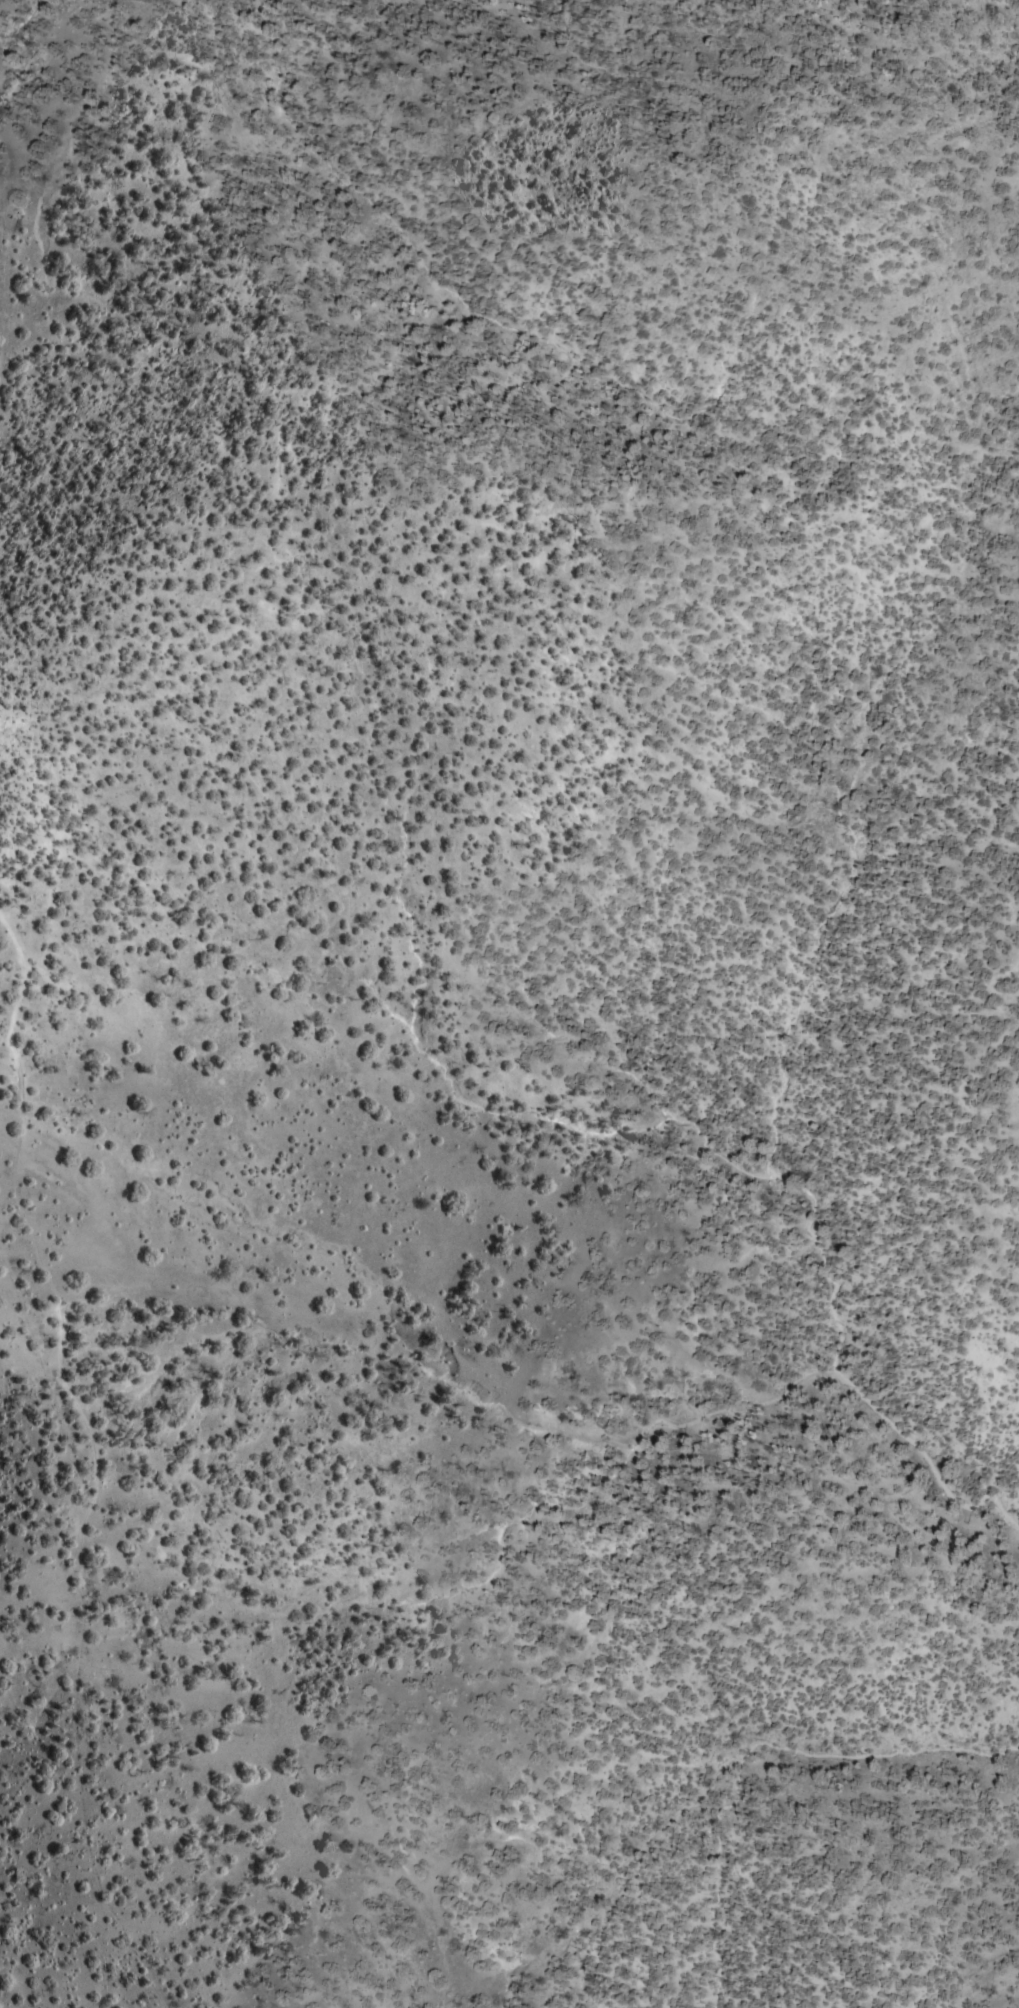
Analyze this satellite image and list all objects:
road: (56, 1302)

